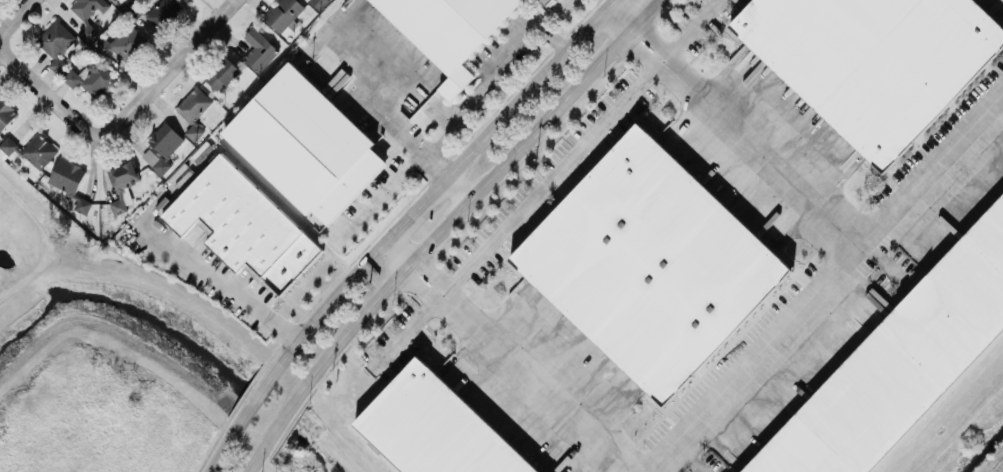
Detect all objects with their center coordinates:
building: (115, 0)
building: (187, 0)
building: (546, 1)
building: (318, 3)
road: (608, 3)
road: (564, 4)
road: (649, 7)
building: (164, 12)
building: (87, 13)
building: (284, 13)
road: (11, 19)
road: (616, 19)
building: (448, 30)
building: (128, 42)
building: (56, 44)
building: (259, 49)
building: (874, 60)
road: (167, 65)
road: (490, 72)
building: (222, 73)
building: (92, 77)
road: (44, 94)
building: (194, 110)
building: (5, 113)
road: (747, 139)
building: (306, 143)
building: (8, 144)
building: (162, 147)
road: (577, 147)
building: (39, 150)
road: (421, 153)
building: (66, 175)
building: (122, 184)
road: (436, 186)
road: (456, 188)
road: (378, 197)
road: (467, 200)
building: (81, 204)
building: (244, 224)
building: (651, 263)
road: (220, 282)
road: (827, 288)
road: (407, 332)
road: (507, 357)
building: (901, 363)
road: (253, 398)
road: (279, 423)
building: (435, 428)
road: (221, 448)
road: (254, 463)

